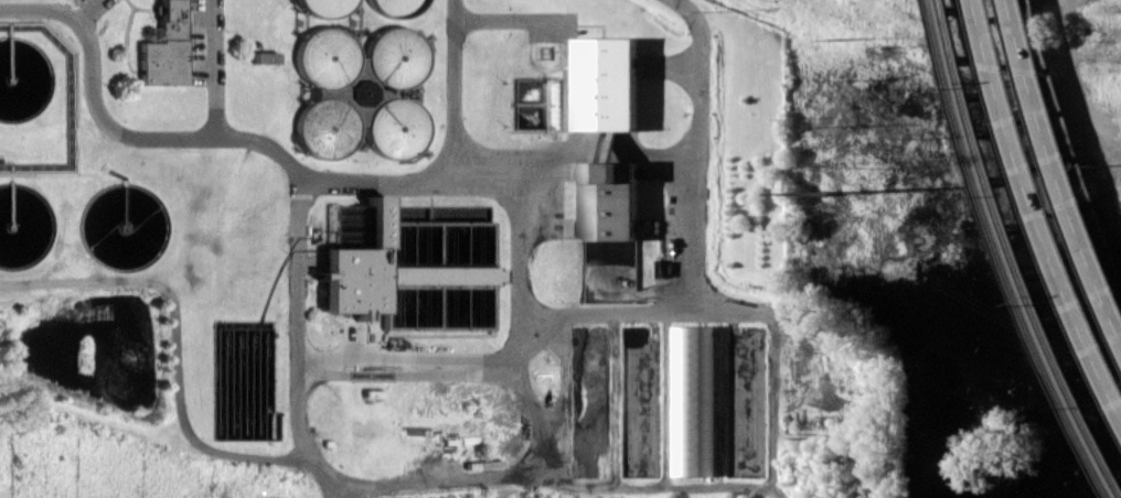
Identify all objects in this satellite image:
building: (323, 6)
building: (394, 6)
road: (88, 12)
road: (512, 20)
building: (166, 46)
building: (394, 52)
building: (324, 55)
building: (263, 58)
road: (1087, 61)
road: (212, 69)
building: (612, 83)
road: (452, 89)
building: (356, 91)
building: (394, 123)
building: (323, 127)
road: (702, 148)
road: (606, 152)
road: (1064, 154)
power tower: (862, 166)
road: (402, 181)
power tower: (825, 193)
road: (1043, 195)
building: (610, 201)
railway: (1016, 245)
wastewater plant: (399, 253)
railway: (1008, 256)
building: (406, 270)
road: (170, 328)
road: (302, 346)
road: (433, 364)
building: (693, 400)
road: (765, 405)
road: (483, 474)

